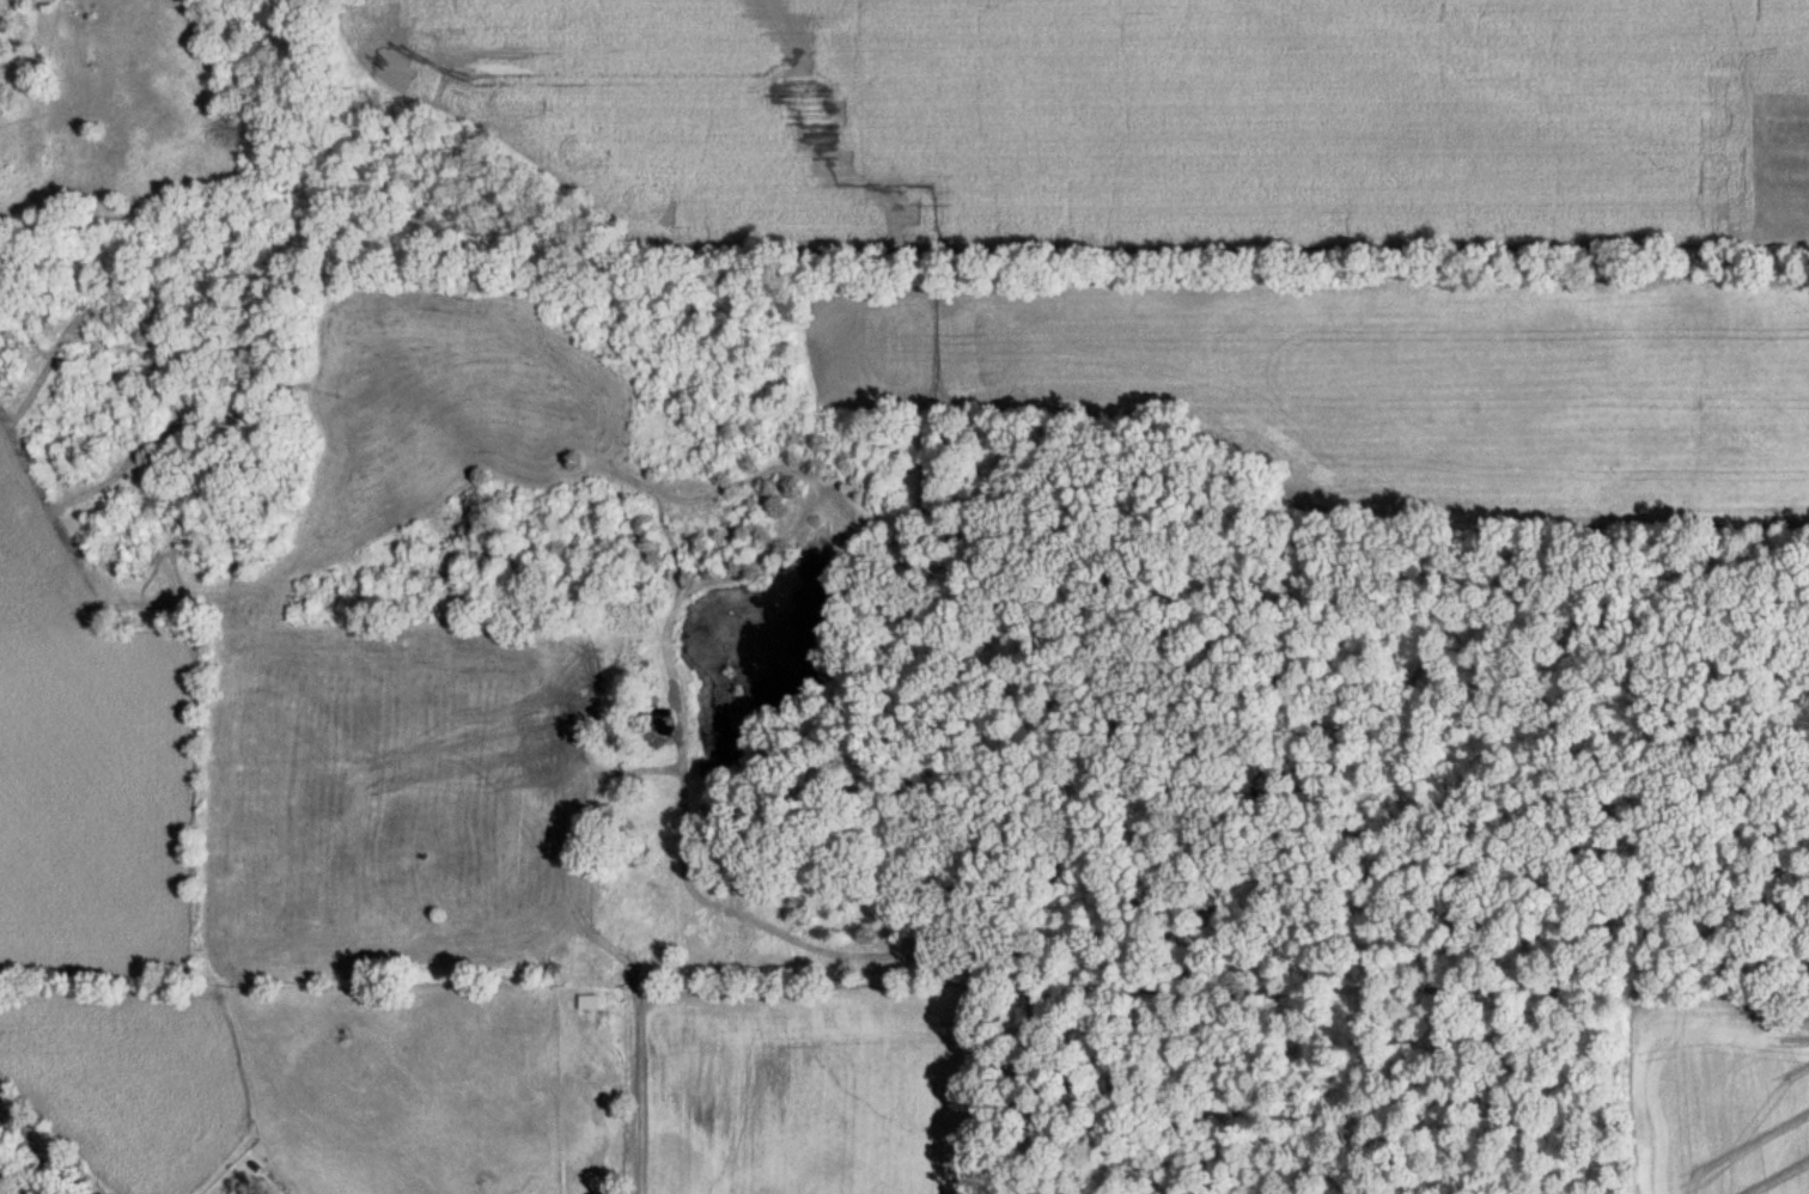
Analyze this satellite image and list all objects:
building: (586, 1004)
road: (43, 1150)
road: (32, 1175)

